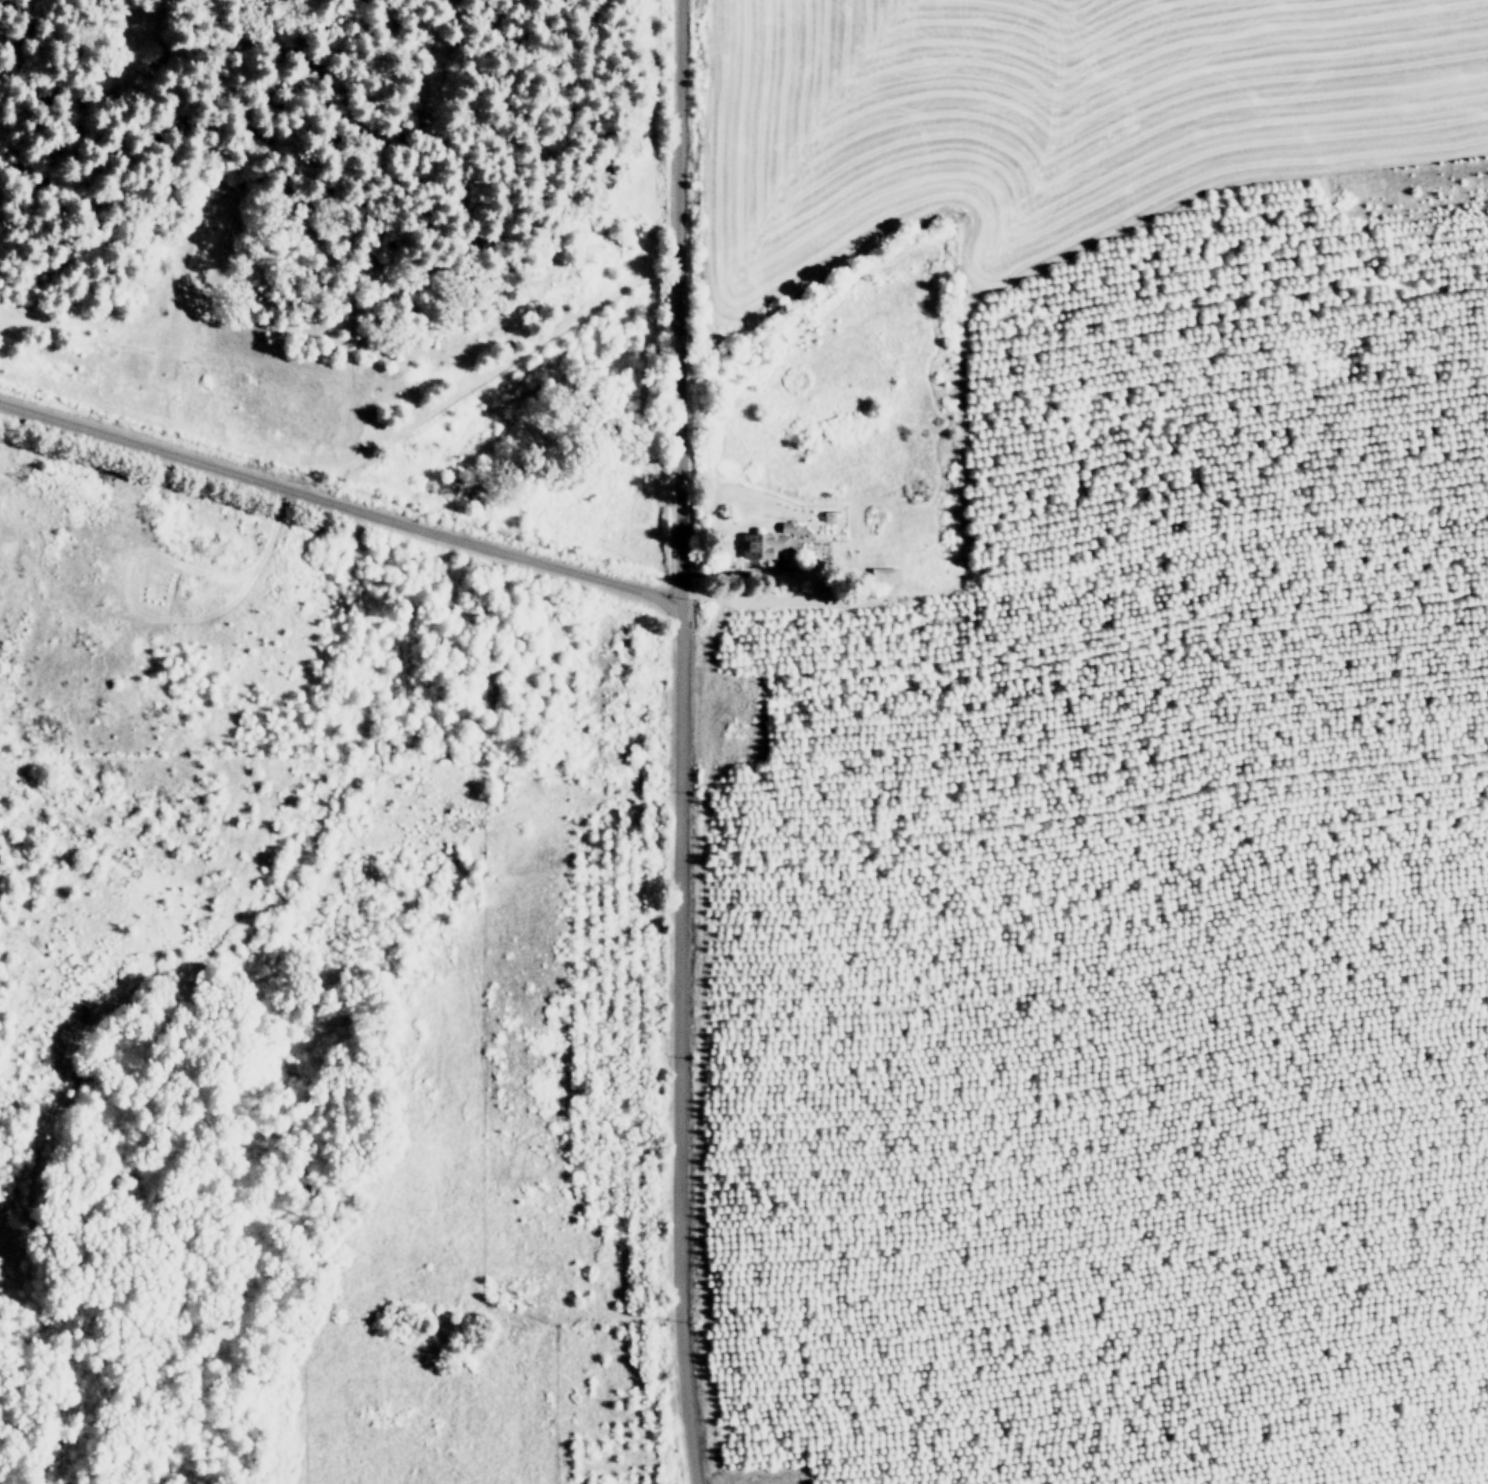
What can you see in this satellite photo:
road: (348, 511)
road: (678, 742)
road: (1082, 1216)

